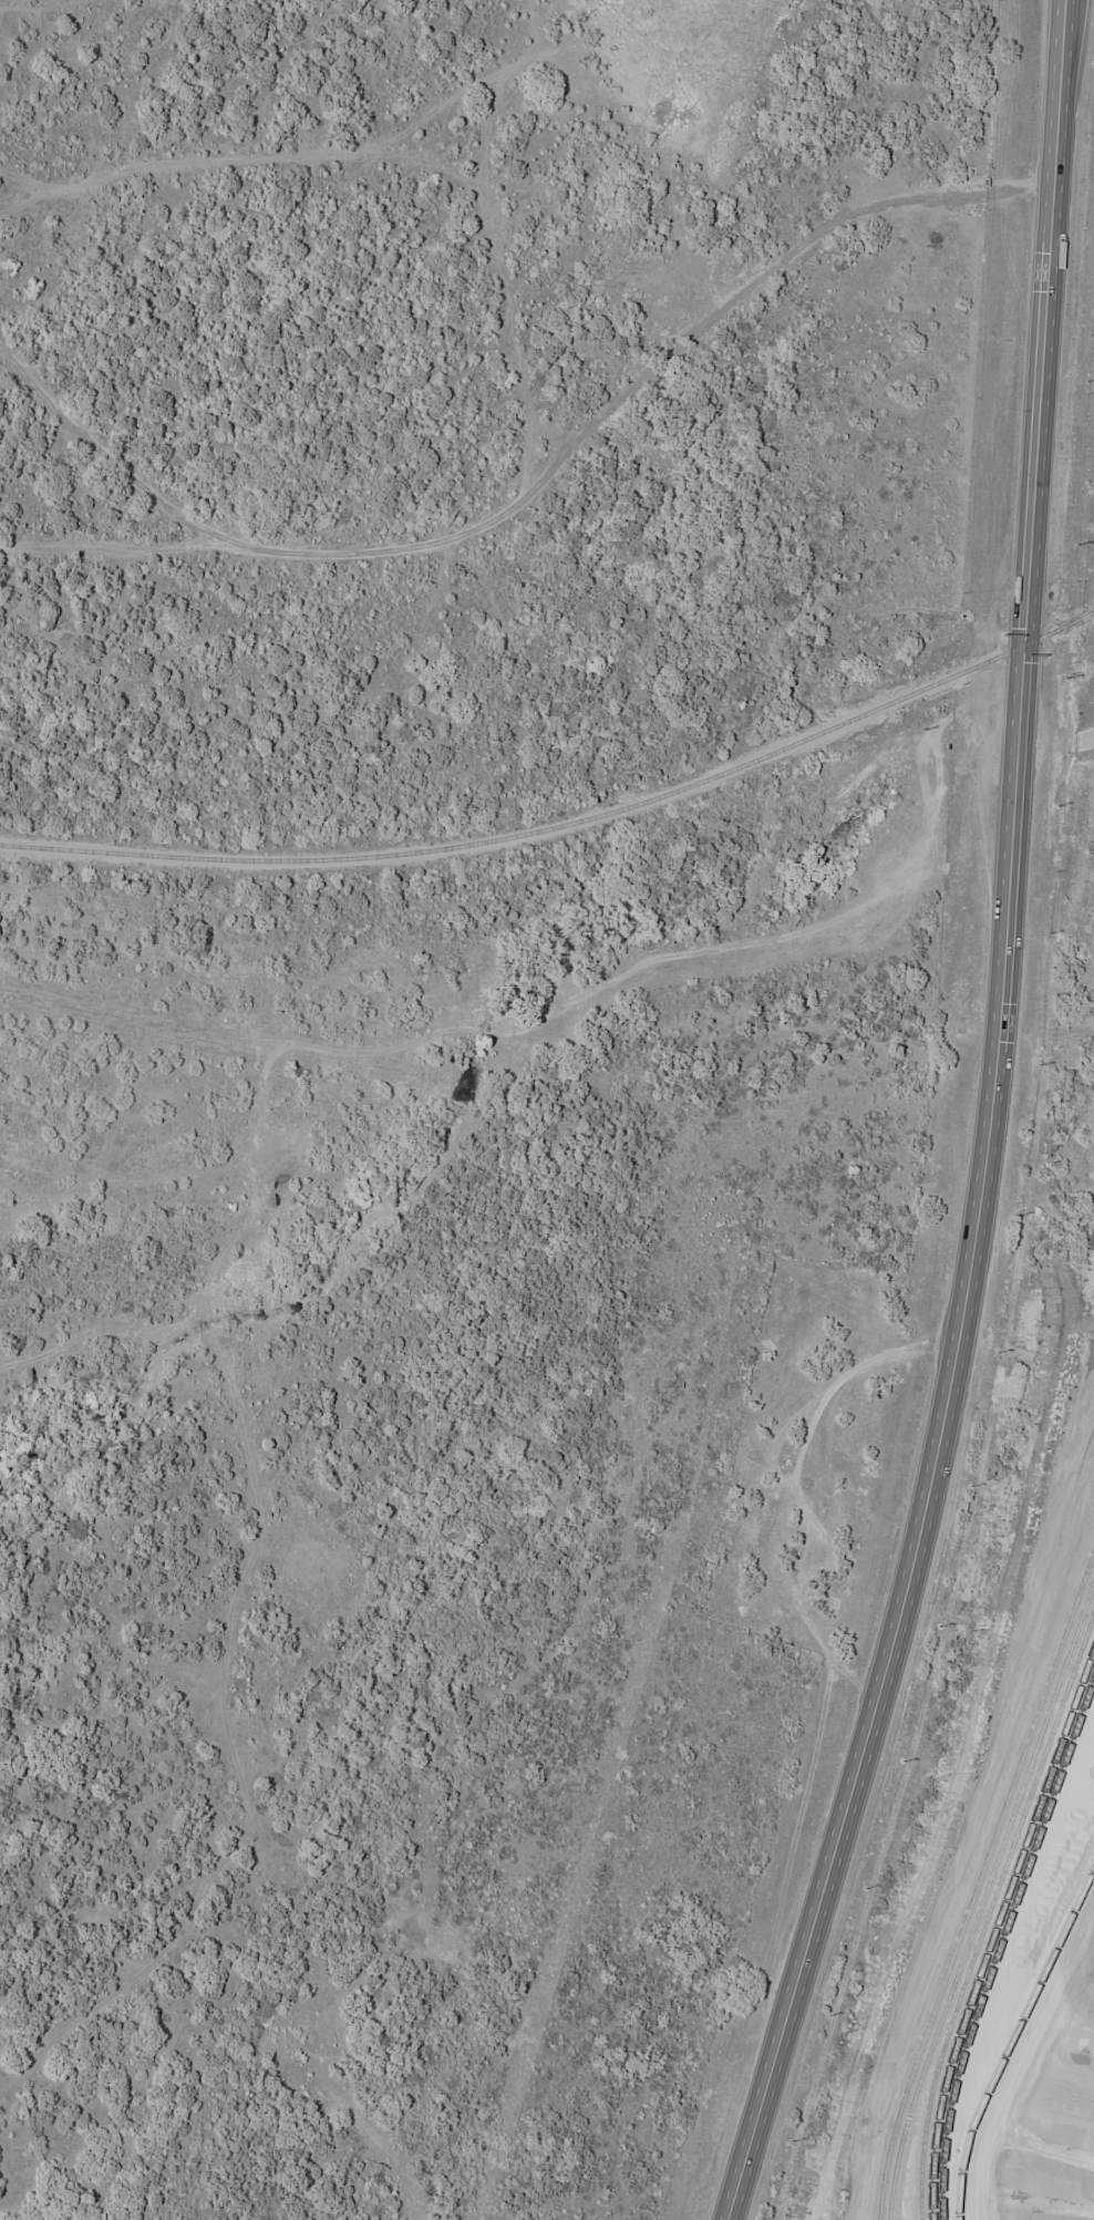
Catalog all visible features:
road: (560, 461)
road: (112, 465)
road: (1084, 741)
railway: (566, 827)
road: (987, 1124)
road: (787, 1487)
railway: (1091, 1620)
road: (968, 1863)
quarry: (1000, 1868)
railway: (984, 1898)
railway: (989, 1910)
railway: (993, 1925)
railway: (1000, 1942)
road: (1028, 2065)
railway: (900, 2097)

